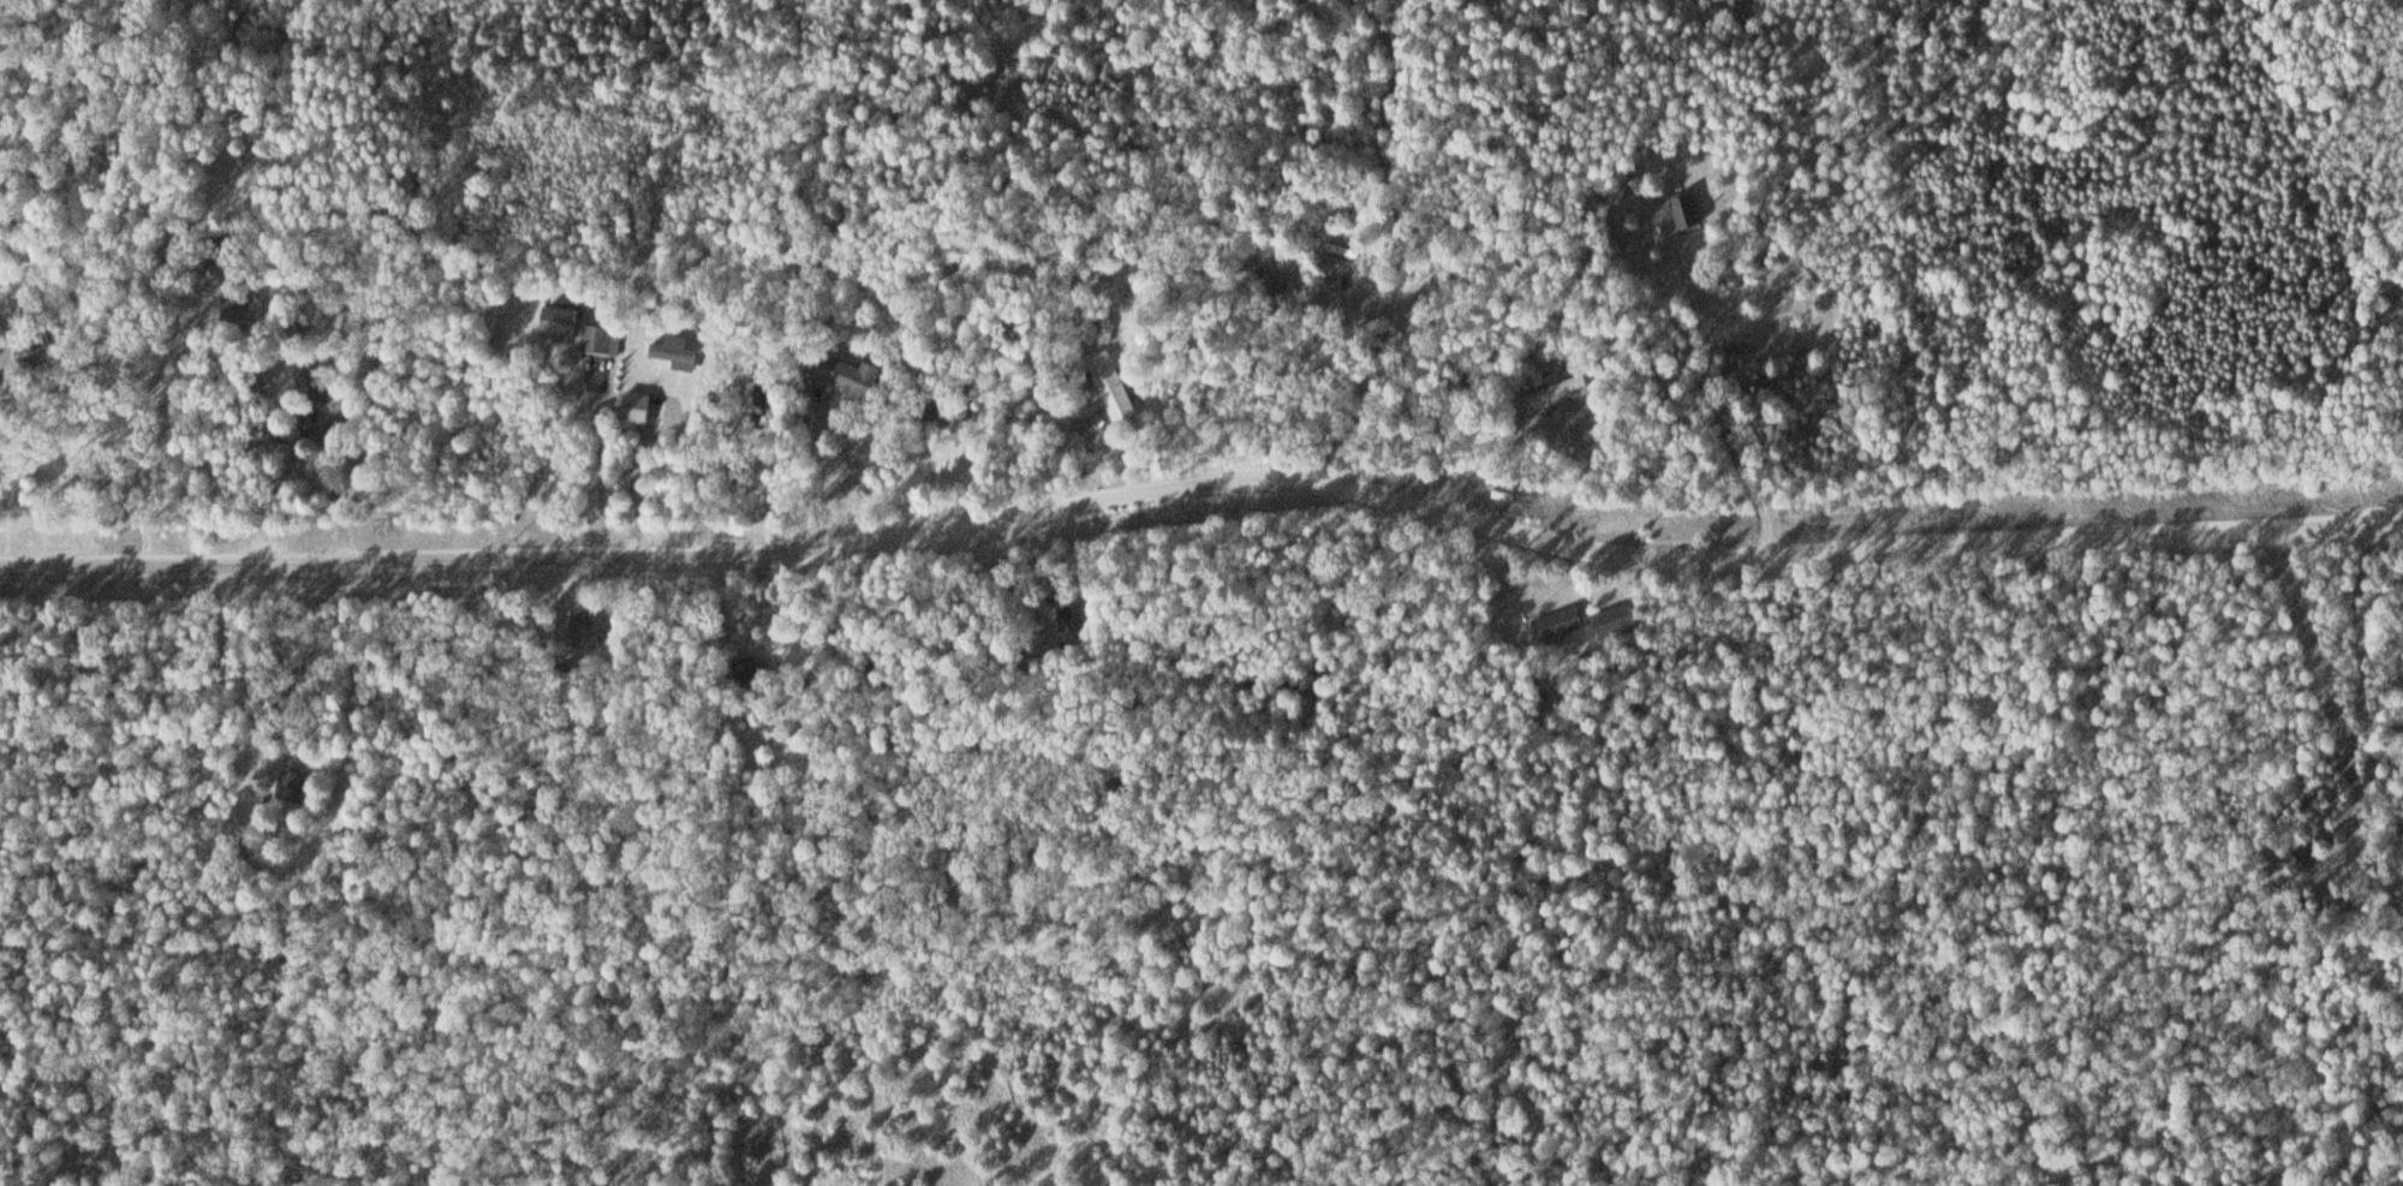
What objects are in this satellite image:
building: (1686, 214)
building: (238, 310)
building: (579, 329)
building: (38, 352)
building: (1114, 387)
building: (1563, 389)
road: (318, 427)
building: (286, 439)
road: (1204, 485)
building: (1071, 616)
building: (1620, 620)
building: (1562, 624)
building: (286, 786)
road: (886, 1134)

